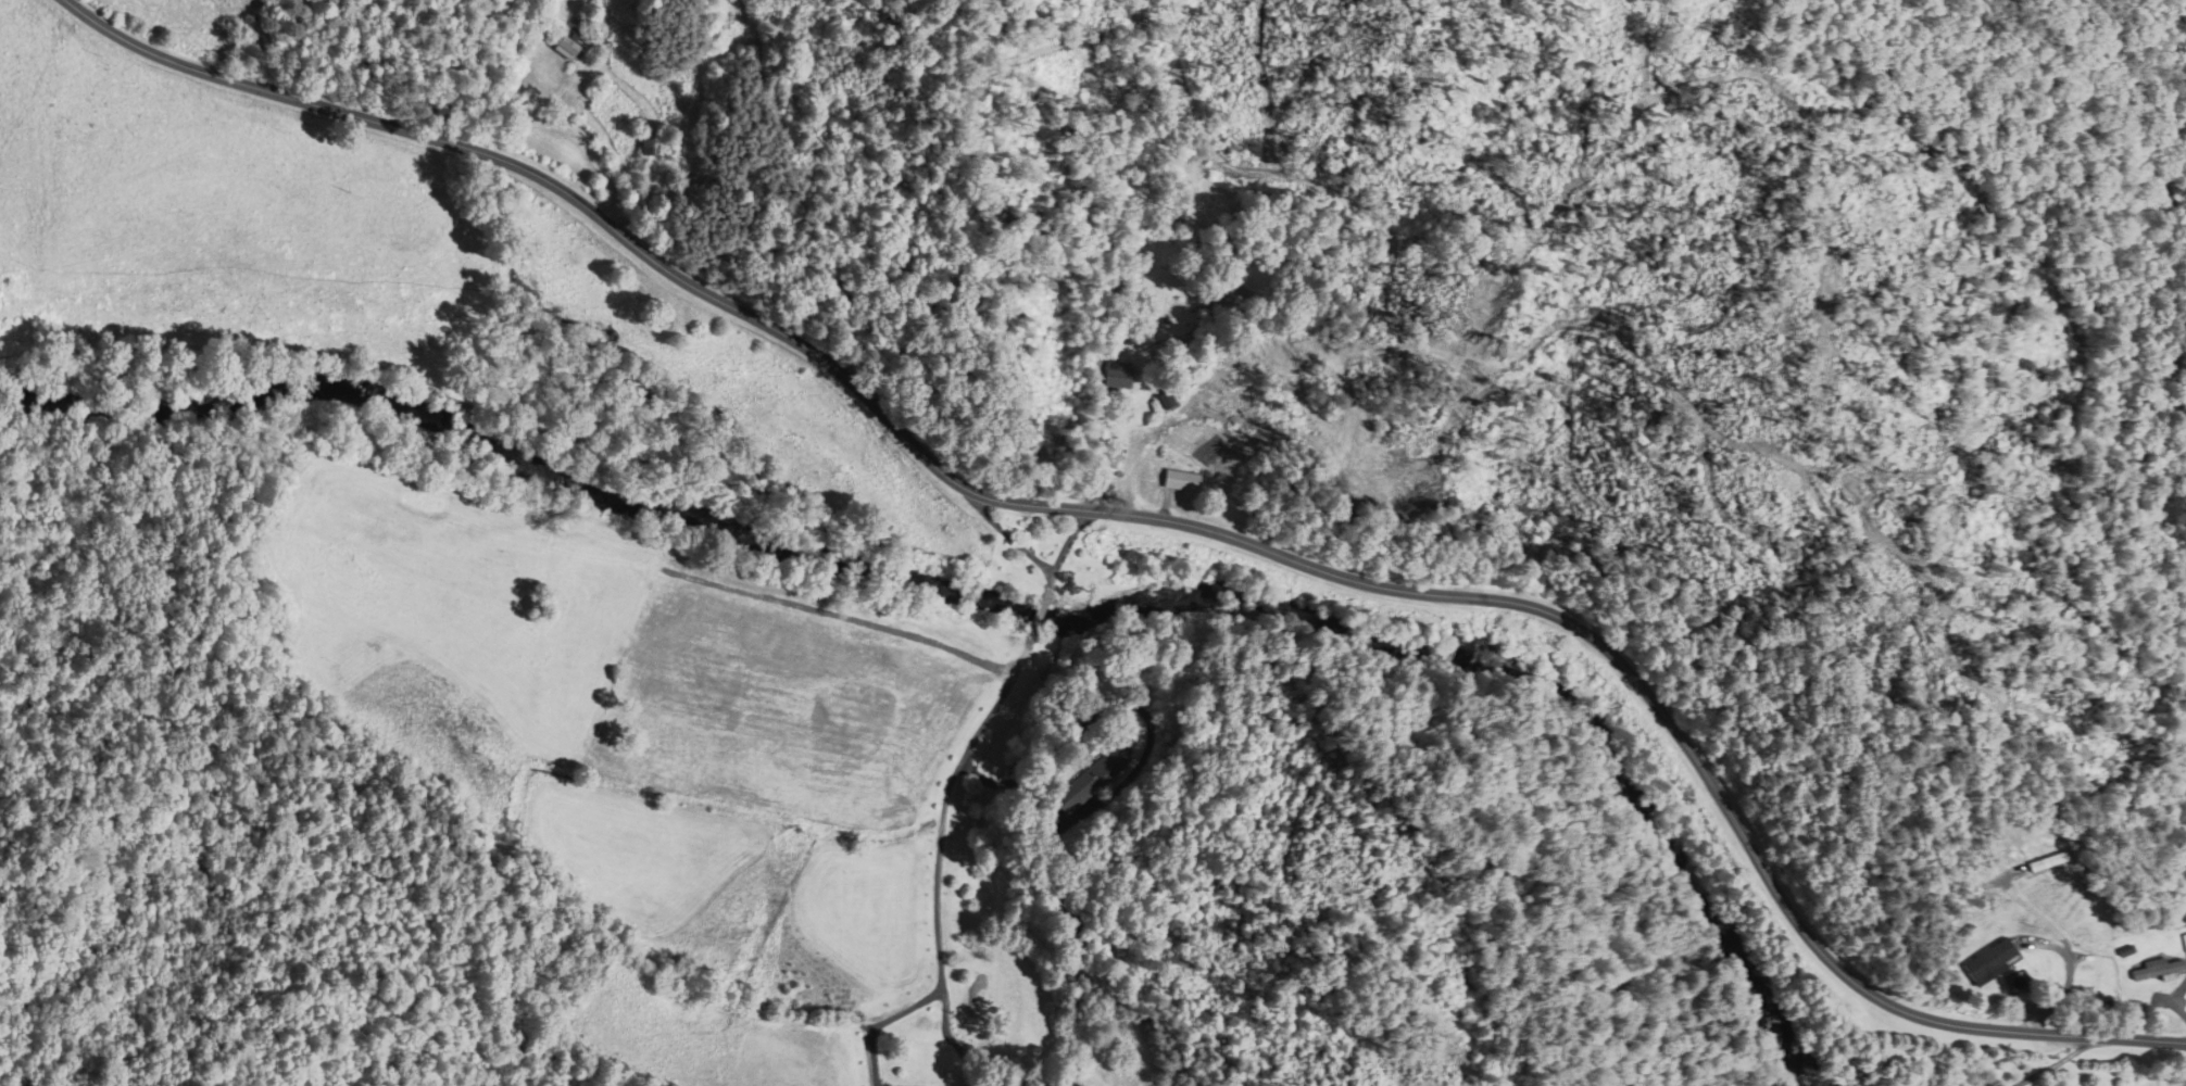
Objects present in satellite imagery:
building: (564, 45)
building: (649, 146)
building: (1115, 379)
building: (1180, 481)
road: (1155, 518)
road: (1067, 539)
road: (956, 759)
building: (1091, 779)
building: (2182, 943)
building: (1984, 961)
building: (2150, 971)
road: (2055, 1062)
building: (2182, 1084)

